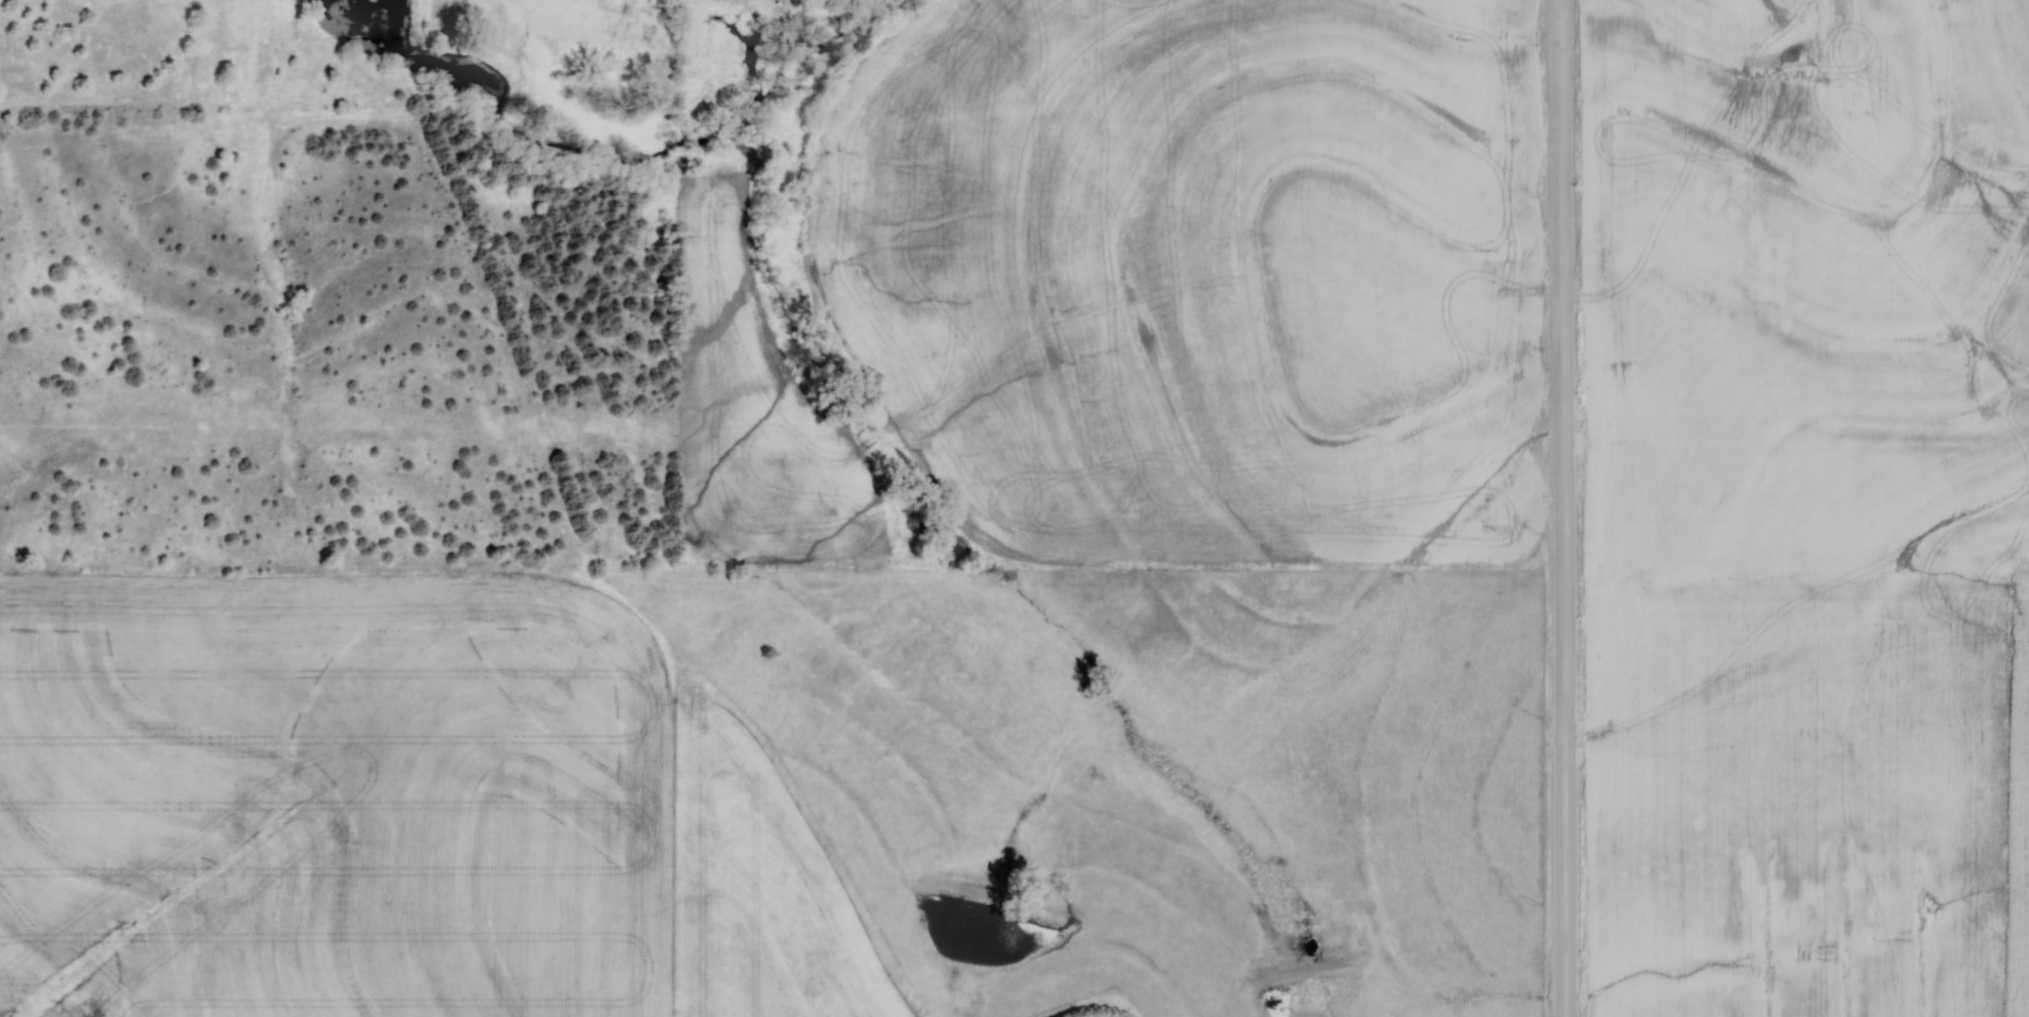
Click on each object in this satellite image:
road: (1566, 508)

